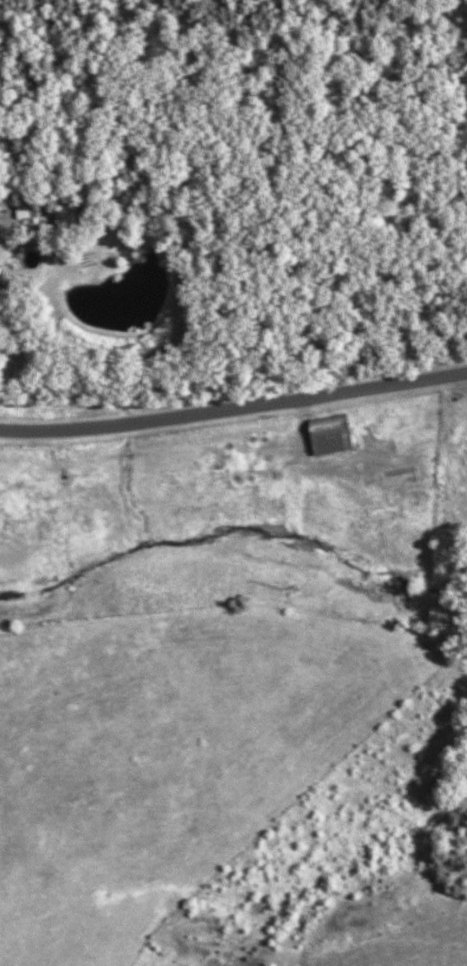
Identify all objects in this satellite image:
road: (233, 403)
building: (326, 435)
building: (410, 441)

